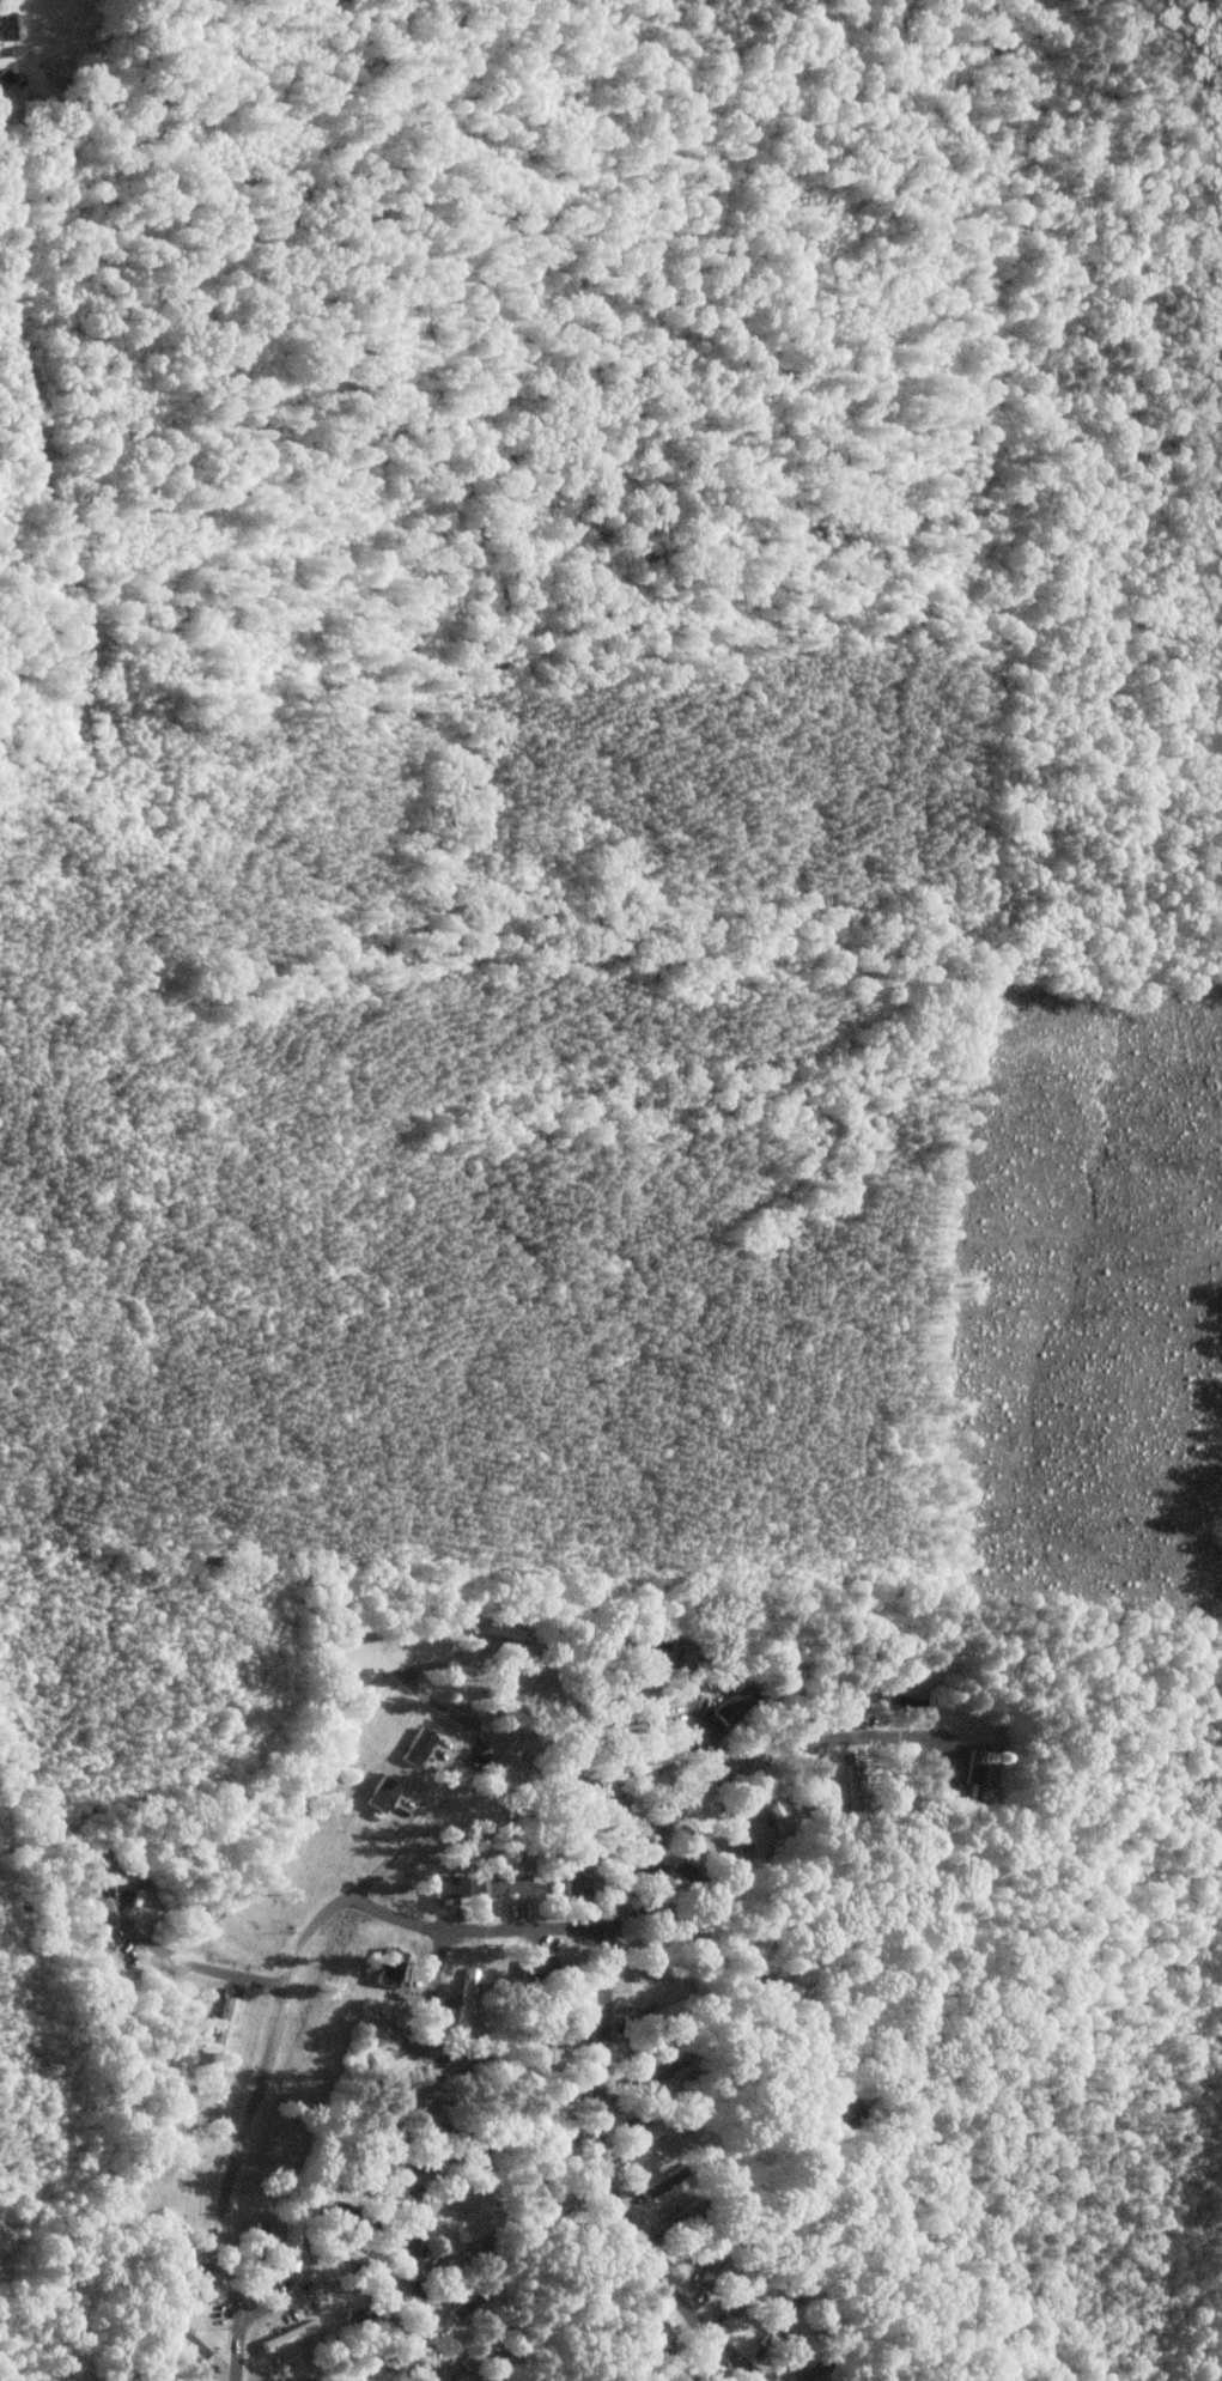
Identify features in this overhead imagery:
building: (13, 25)
building: (649, 1647)
road: (436, 1666)
building: (735, 1703)
road: (700, 1724)
building: (417, 1745)
building: (819, 1790)
building: (381, 1793)
building: (711, 1848)
building: (576, 1876)
building: (505, 1883)
road: (478, 1931)
building: (98, 1934)
road: (183, 1962)
building: (388, 1970)
road: (606, 1970)
building: (464, 2015)
road: (275, 2023)
building: (224, 2027)
building: (648, 2073)
road: (418, 2157)
building: (291, 2252)
building: (200, 2286)
road: (268, 2307)
building: (288, 2334)

